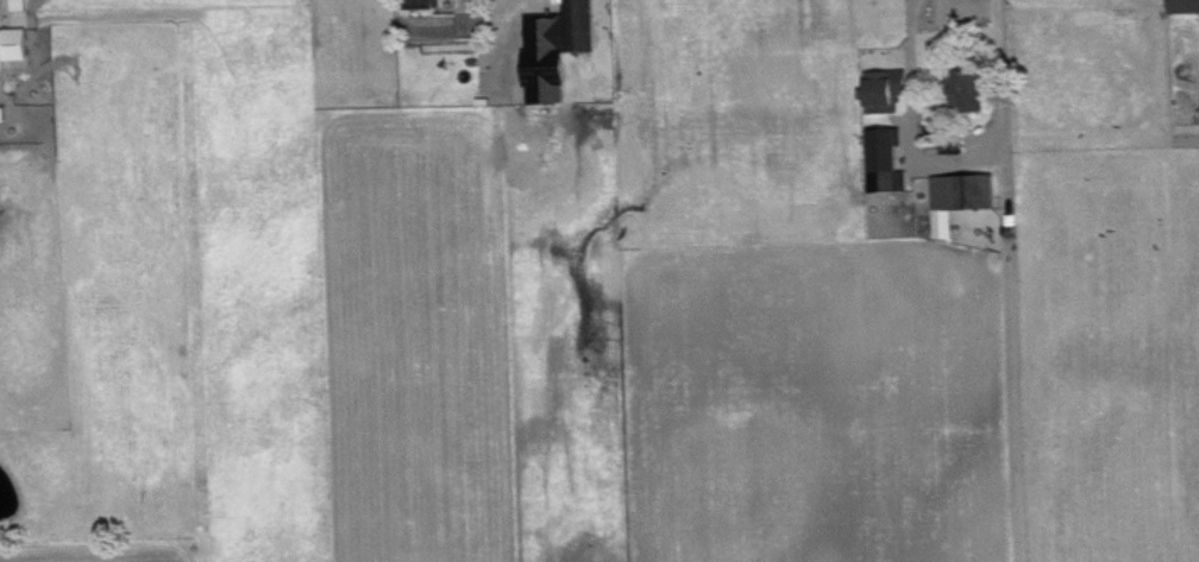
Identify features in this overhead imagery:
building: (420, 0)
building: (15, 4)
building: (12, 43)
building: (553, 48)
building: (884, 88)
building: (967, 88)
building: (2, 113)
building: (885, 158)
road: (955, 158)
building: (959, 196)

